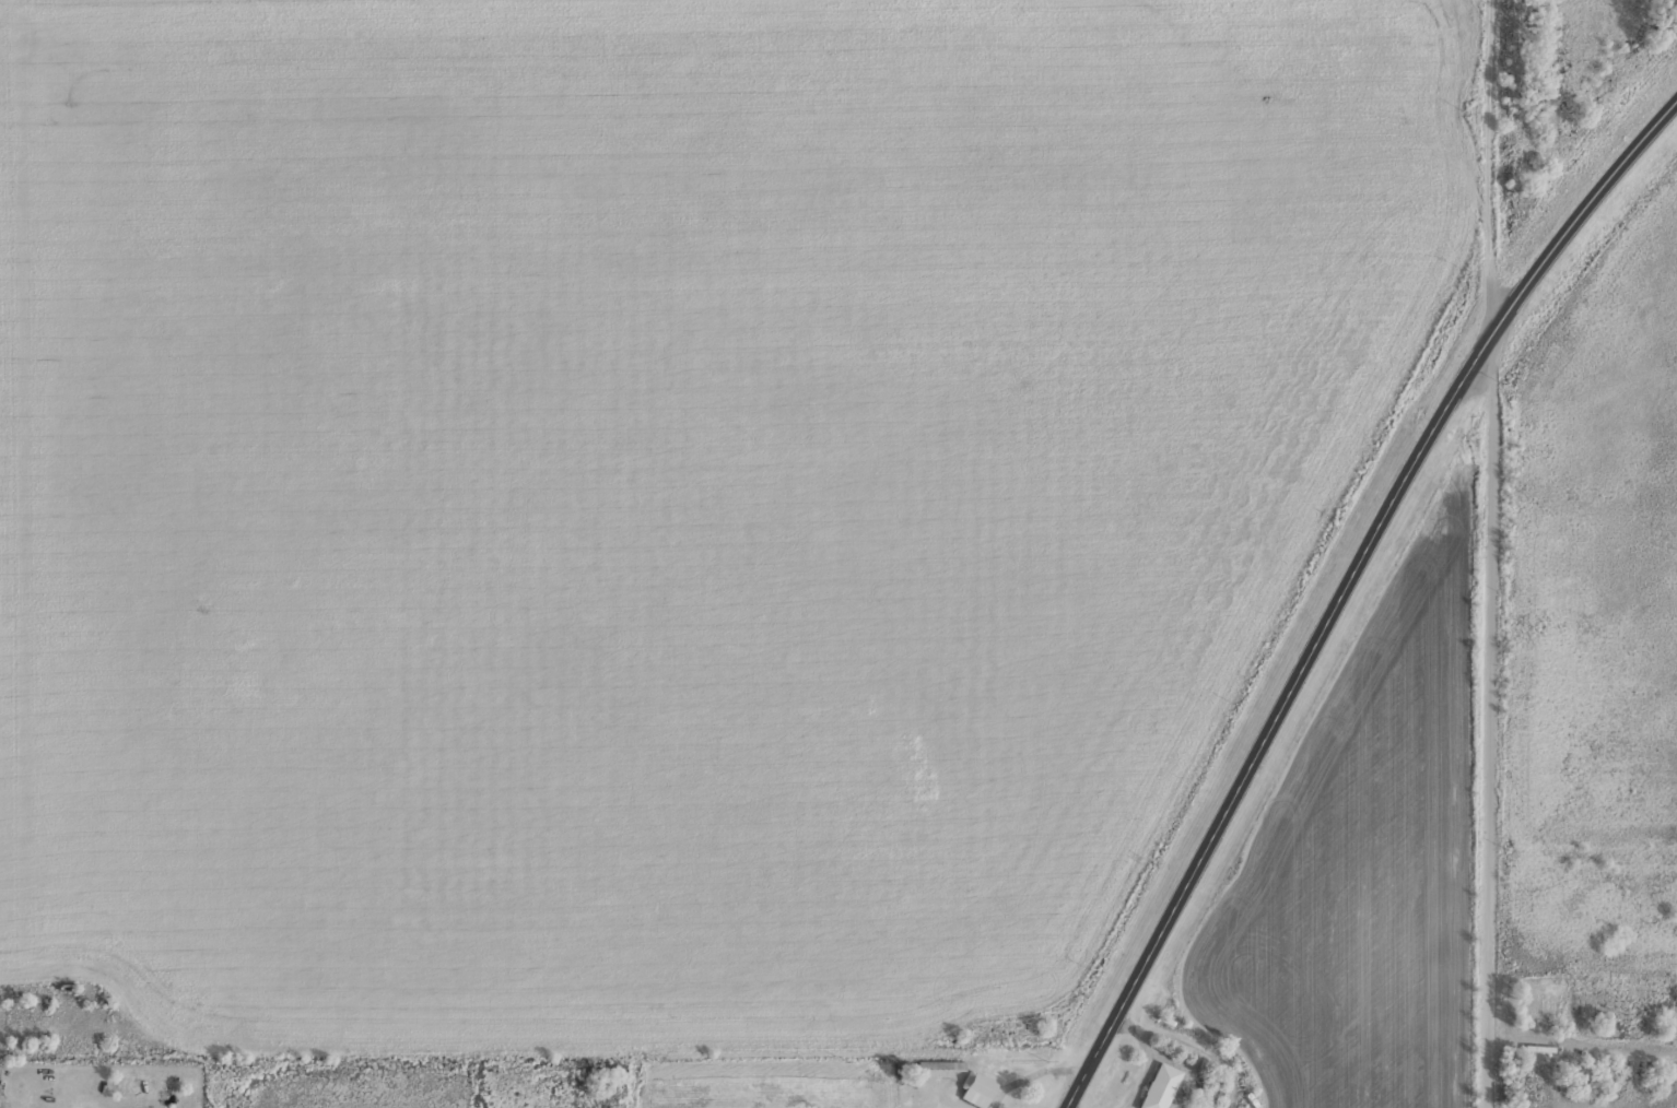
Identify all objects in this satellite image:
road: (1489, 165)
road: (1405, 476)
road: (1491, 719)
road: (1128, 999)
road: (1582, 1036)
building: (1159, 1086)
building: (976, 1088)

